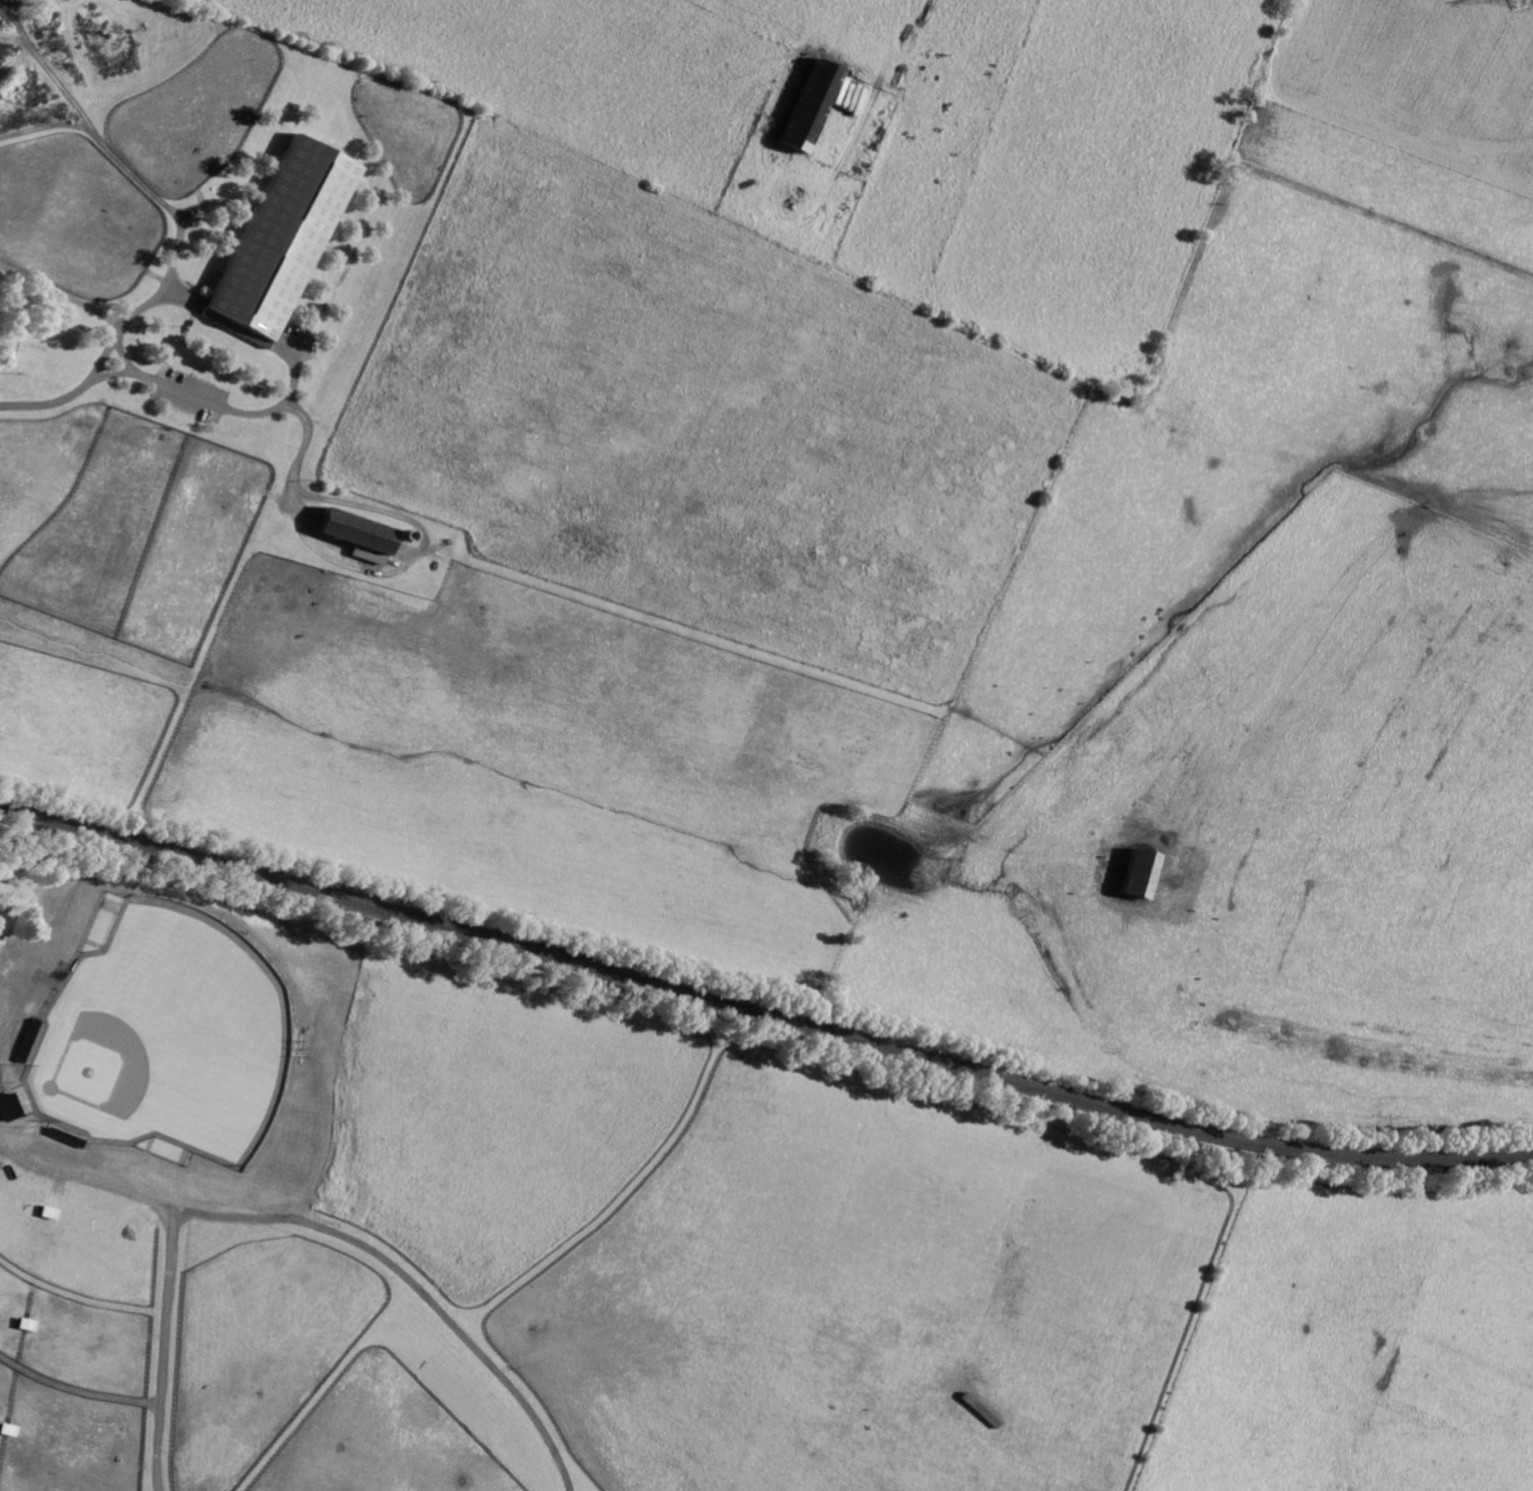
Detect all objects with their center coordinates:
building: (812, 106)
building: (284, 241)
road: (126, 371)
road: (92, 372)
road: (264, 413)
building: (363, 536)
building: (1144, 872)
railway: (761, 1012)
railway: (761, 1022)
road: (172, 1244)
road: (418, 1284)

